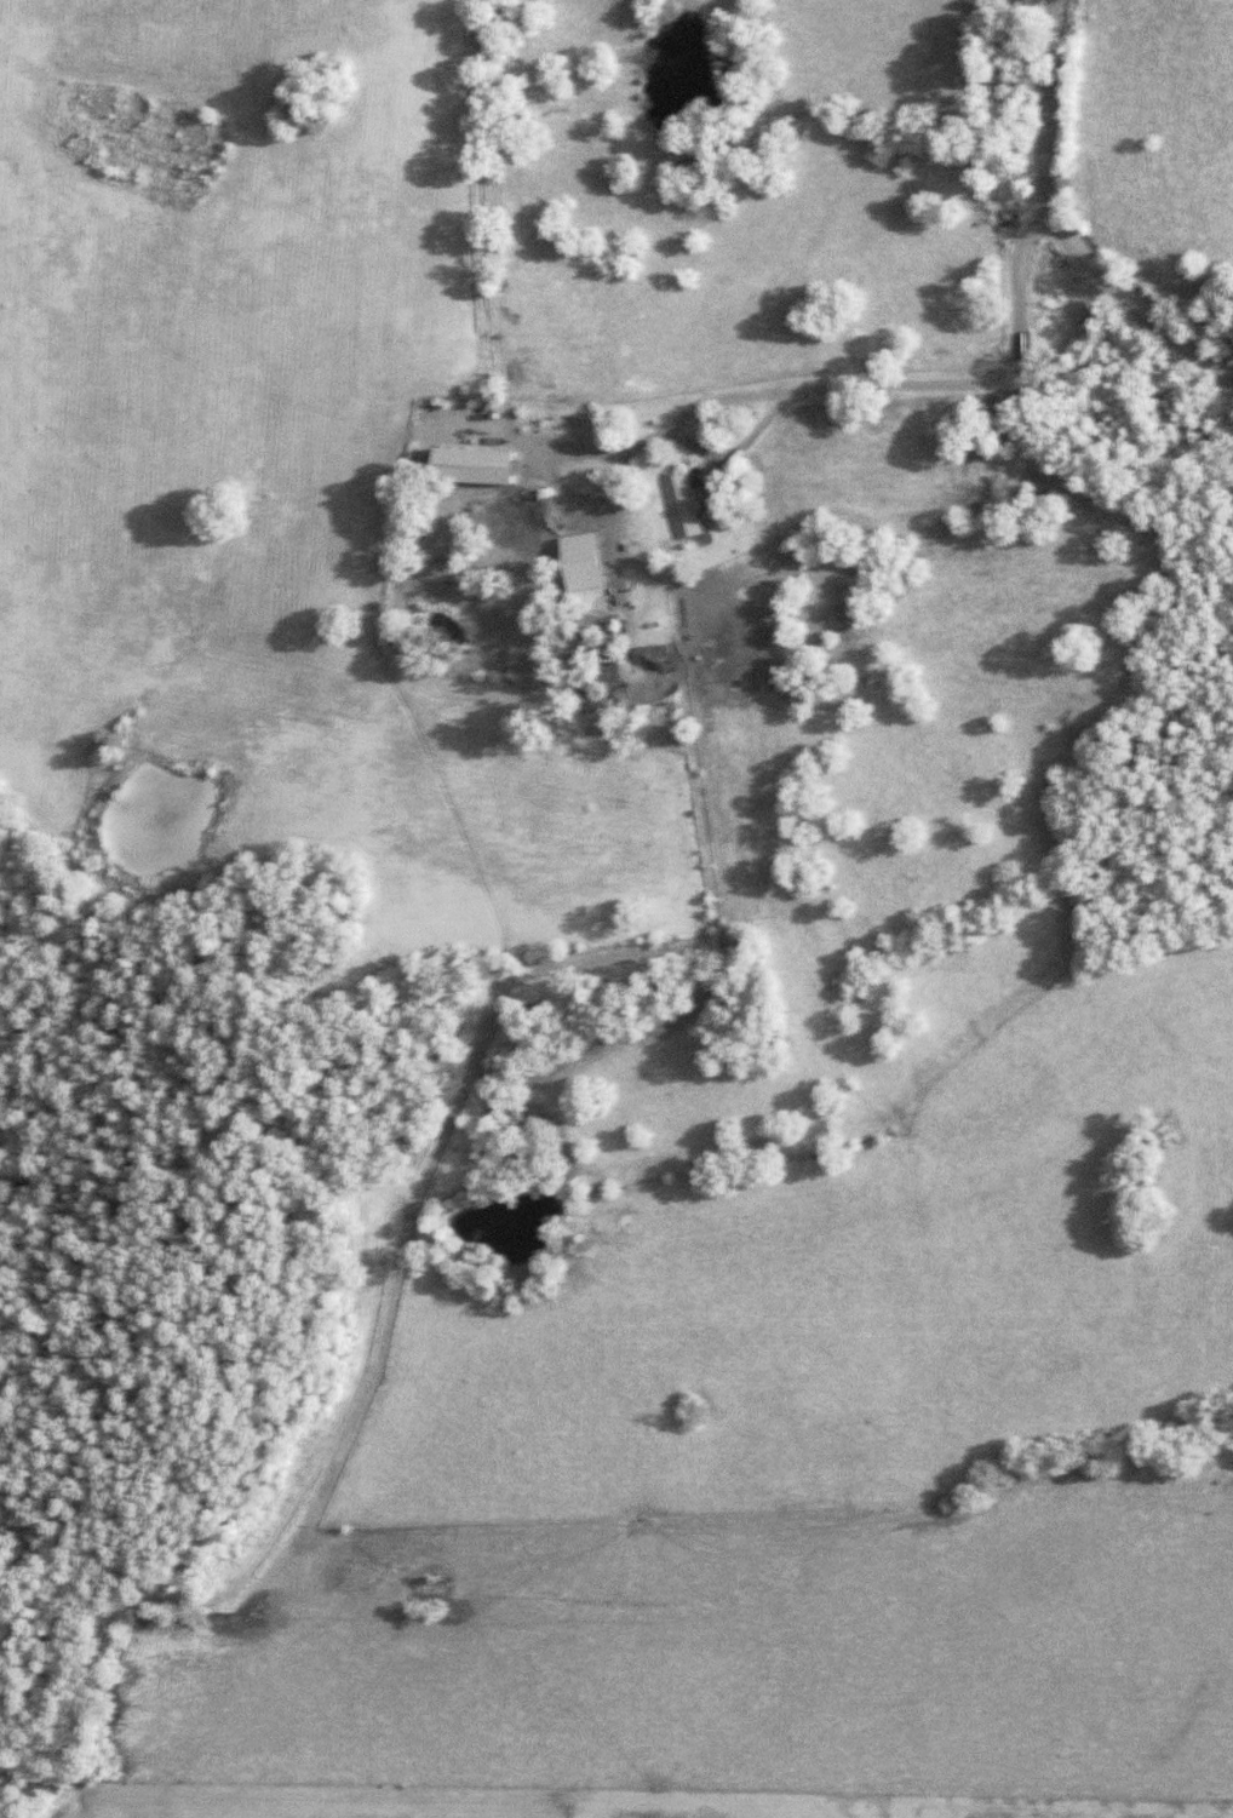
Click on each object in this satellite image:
road: (1061, 226)
road: (893, 428)
building: (477, 470)
building: (686, 509)
building: (587, 566)
building: (659, 663)

